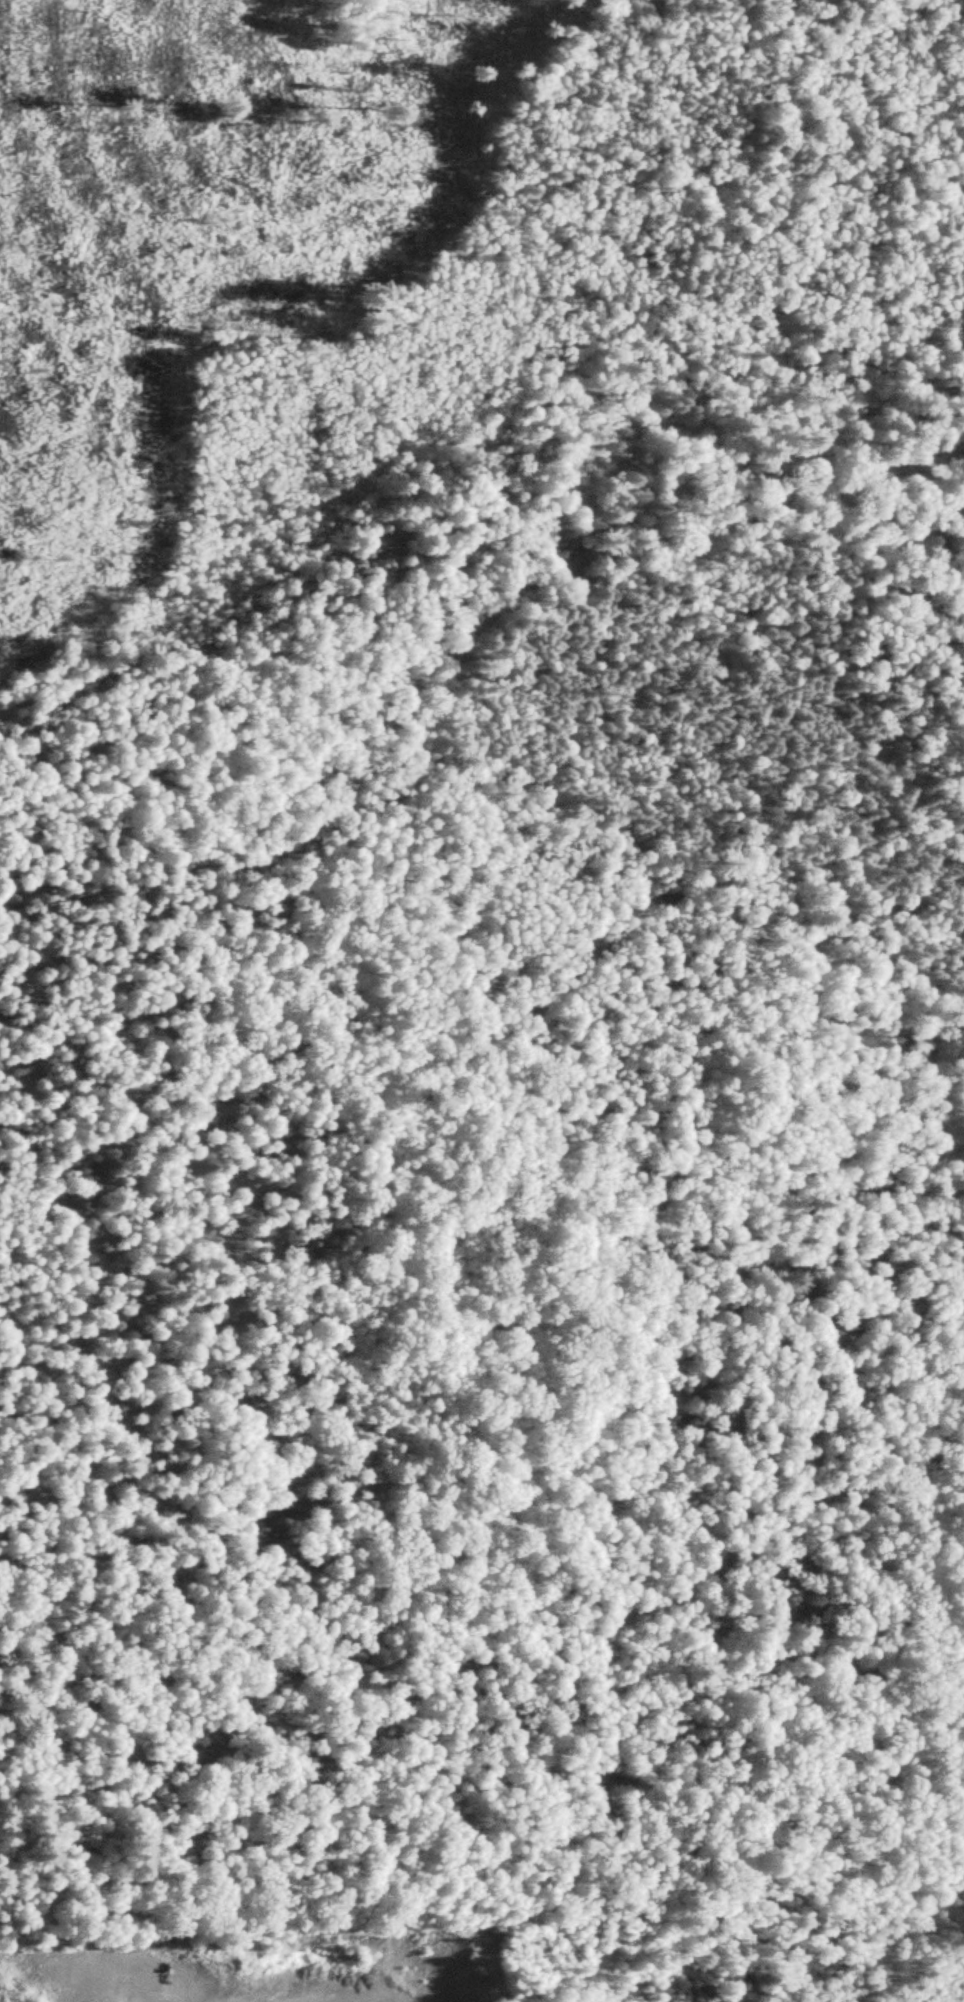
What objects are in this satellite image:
quarry: (250, 1960)

